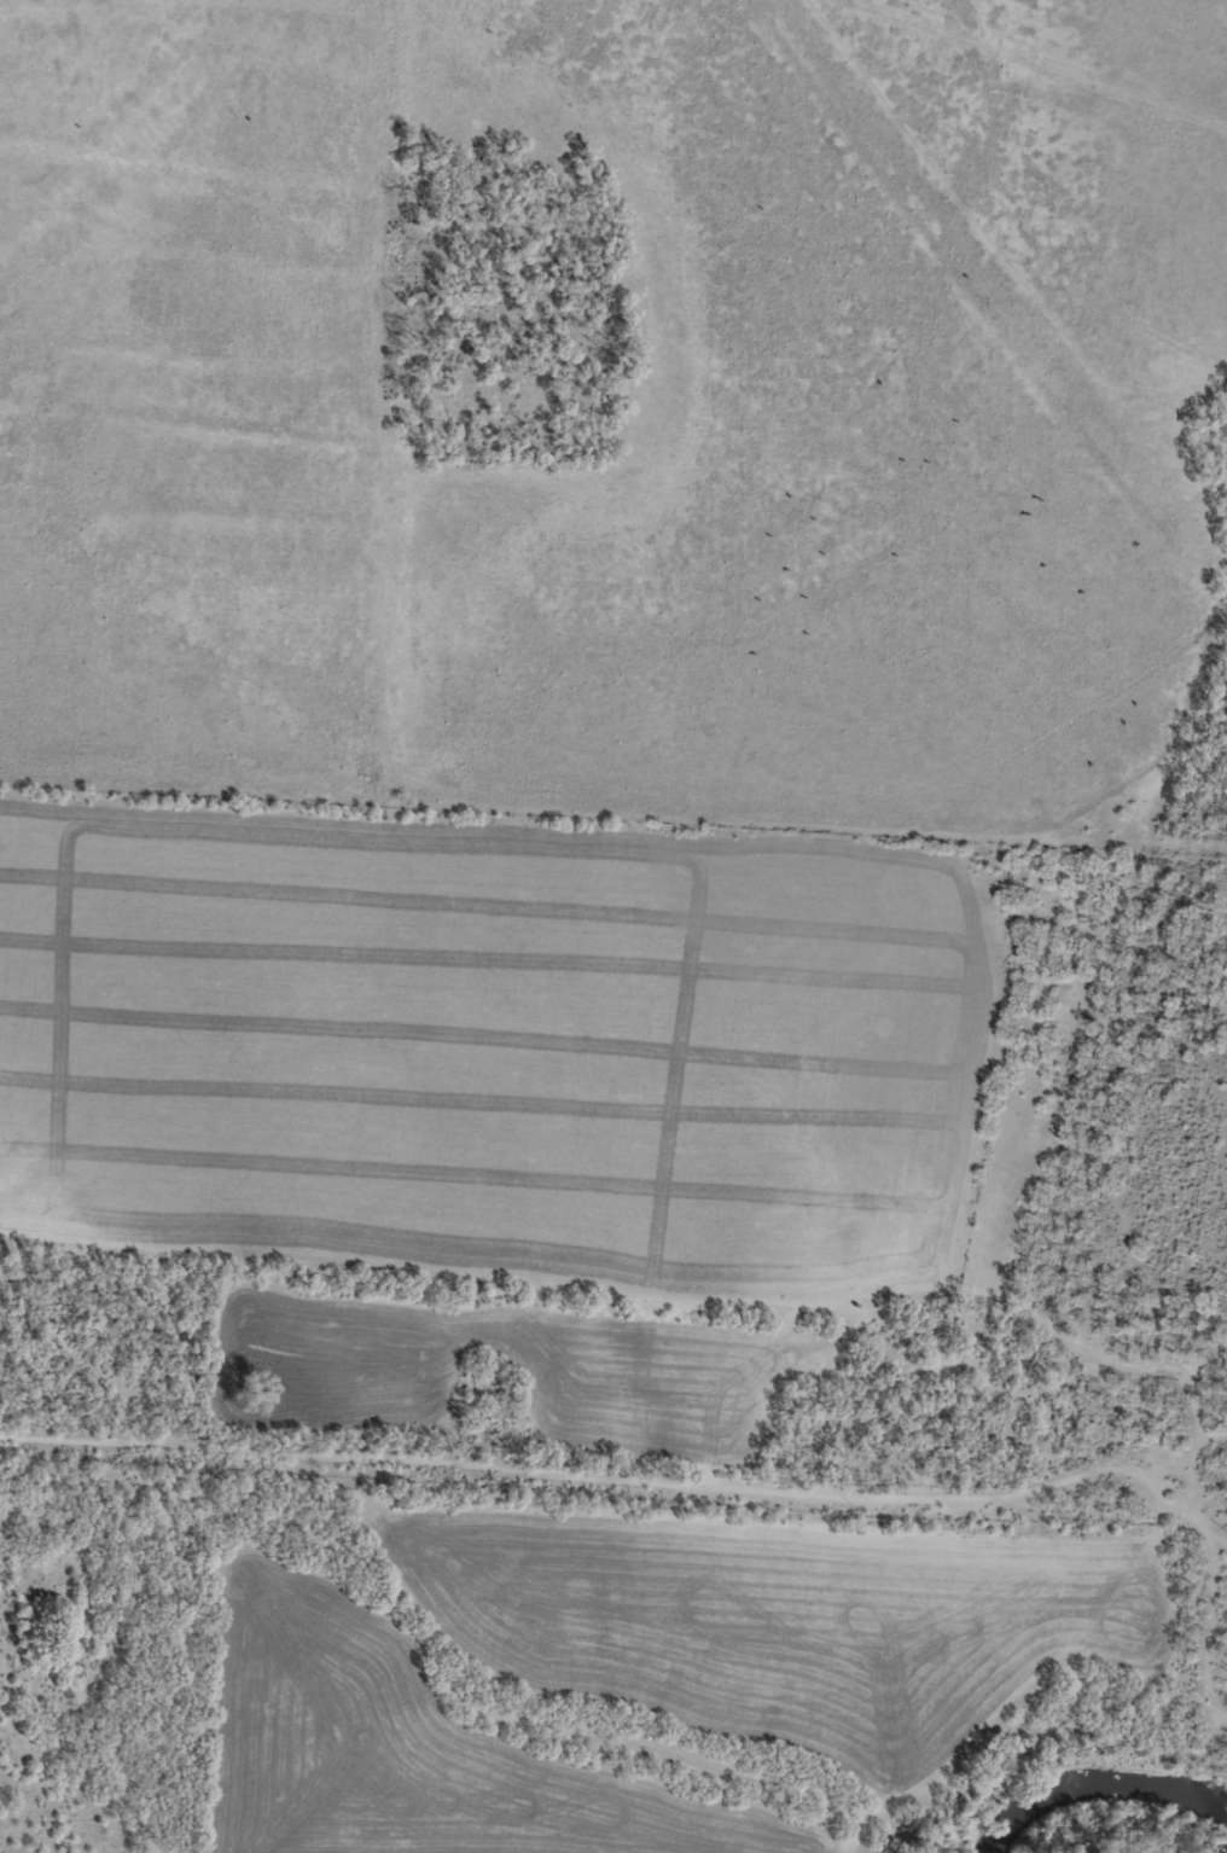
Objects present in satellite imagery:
road: (615, 1476)

